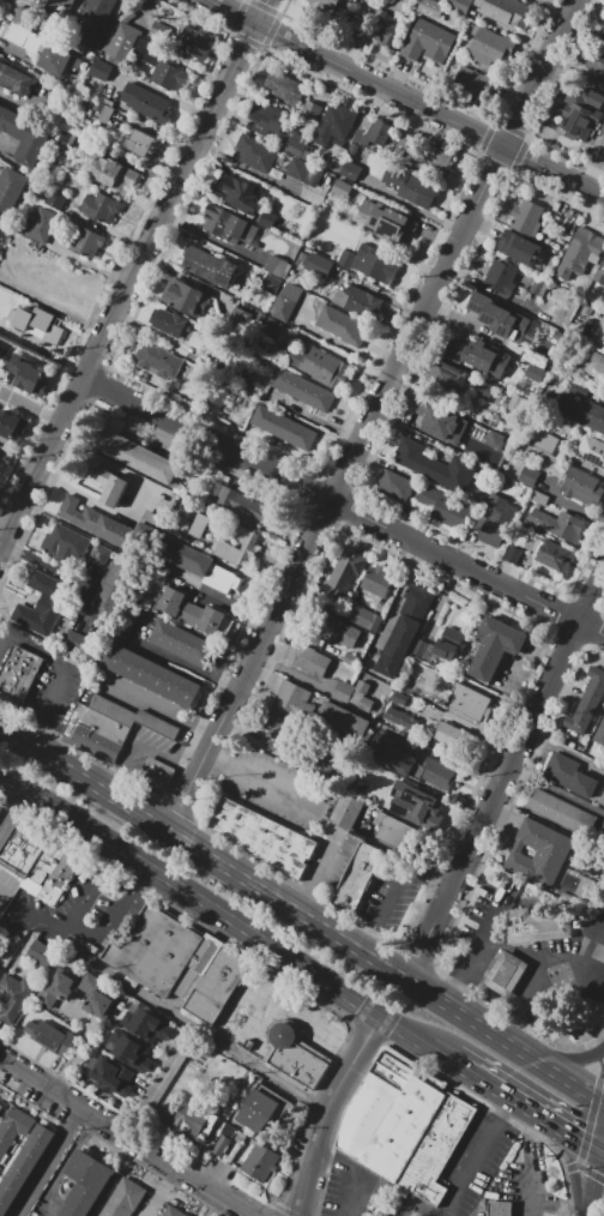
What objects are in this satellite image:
building: (80, 0)
building: (459, 4)
building: (322, 6)
building: (58, 8)
building: (430, 8)
building: (97, 12)
building: (505, 13)
building: (25, 18)
building: (385, 25)
building: (2, 28)
building: (17, 34)
building: (91, 37)
building: (602, 37)
building: (117, 42)
building: (428, 42)
building: (31, 43)
building: (194, 43)
road: (536, 44)
road: (354, 48)
building: (491, 50)
building: (56, 60)
building: (594, 61)
building: (101, 70)
road: (395, 74)
building: (14, 78)
building: (168, 79)
building: (469, 80)
building: (283, 88)
road: (405, 96)
road: (509, 97)
building: (143, 102)
building: (309, 109)
building: (580, 112)
building: (101, 113)
building: (261, 115)
building: (334, 125)
building: (602, 131)
building: (24, 134)
building: (372, 134)
building: (137, 143)
building: (295, 144)
road: (5, 145)
building: (256, 152)
building: (337, 155)
building: (433, 161)
building: (296, 169)
road: (596, 169)
building: (350, 170)
building: (117, 177)
building: (407, 188)
building: (10, 189)
building: (240, 194)
road: (563, 195)
building: (55, 199)
road: (412, 206)
building: (101, 207)
road: (591, 207)
building: (527, 217)
building: (267, 218)
building: (386, 221)
building: (38, 225)
road: (482, 225)
building: (229, 227)
road: (436, 235)
building: (85, 241)
building: (519, 247)
building: (579, 252)
building: (346, 258)
building: (197, 261)
building: (274, 265)
building: (374, 265)
building: (316, 266)
road: (423, 266)
road: (132, 272)
building: (225, 272)
road: (459, 273)
building: (599, 275)
building: (500, 276)
building: (271, 284)
building: (539, 285)
road: (411, 293)
building: (183, 299)
building: (361, 299)
building: (286, 301)
road: (404, 306)
road: (447, 315)
building: (499, 317)
building: (37, 324)
building: (338, 324)
building: (179, 327)
building: (274, 329)
building: (1, 349)
road: (379, 349)
building: (477, 356)
building: (156, 360)
building: (598, 362)
building: (320, 366)
building: (536, 373)
building: (28, 374)
building: (447, 374)
road: (380, 377)
building: (484, 389)
building: (216, 390)
building: (580, 390)
building: (307, 391)
building: (528, 395)
road: (30, 408)
building: (581, 413)
road: (372, 416)
building: (439, 416)
building: (11, 425)
road: (393, 425)
building: (282, 428)
road: (338, 428)
building: (546, 441)
building: (592, 451)
road: (271, 452)
building: (135, 455)
road: (369, 456)
building: (434, 465)
building: (528, 475)
building: (110, 486)
building: (582, 486)
building: (393, 487)
road: (73, 490)
building: (427, 498)
building: (538, 498)
road: (343, 505)
building: (68, 506)
building: (243, 506)
building: (451, 511)
building: (496, 516)
building: (560, 524)
building: (198, 525)
building: (107, 529)
building: (235, 541)
building: (64, 544)
building: (99, 554)
building: (552, 554)
road: (32, 556)
road: (277, 561)
building: (194, 565)
building: (343, 576)
building: (376, 580)
building: (109, 585)
building: (48, 596)
road: (254, 602)
building: (330, 606)
road: (232, 608)
building: (193, 612)
building: (362, 618)
building: (325, 627)
building: (404, 628)
building: (454, 634)
road: (303, 636)
building: (77, 643)
building: (183, 643)
building: (494, 646)
building: (422, 648)
road: (5, 649)
building: (445, 649)
building: (312, 663)
road: (288, 670)
road: (59, 672)
building: (150, 674)
road: (260, 674)
building: (17, 676)
road: (217, 679)
building: (354, 694)
building: (399, 698)
building: (295, 700)
building: (587, 702)
building: (469, 703)
road: (162, 709)
building: (344, 721)
building: (400, 721)
building: (109, 726)
road: (238, 727)
building: (599, 733)
building: (277, 735)
building: (446, 735)
road: (138, 745)
road: (448, 760)
building: (318, 763)
building: (411, 766)
building: (155, 776)
building: (569, 776)
road: (505, 779)
road: (557, 790)
building: (602, 799)
building: (411, 801)
building: (0, 808)
road: (11, 808)
building: (345, 811)
road: (310, 813)
building: (561, 813)
building: (397, 831)
building: (264, 837)
building: (538, 845)
road: (111, 857)
building: (37, 861)
road: (234, 874)
road: (141, 877)
building: (356, 878)
road: (391, 889)
road: (2, 893)
parking lot: (389, 898)
road: (223, 916)
building: (536, 926)
road: (85, 933)
building: (155, 950)
road: (517, 950)
building: (41, 953)
road: (473, 955)
road: (597, 963)
building: (0, 970)
road: (569, 970)
building: (506, 974)
building: (210, 979)
road: (597, 980)
building: (58, 988)
building: (97, 995)
building: (13, 997)
road: (525, 1001)
road: (259, 1004)
road: (161, 1006)
parking lot: (250, 1015)
building: (146, 1025)
road: (315, 1025)
road: (485, 1031)
building: (50, 1036)
road: (507, 1045)
road: (514, 1048)
building: (131, 1049)
building: (295, 1054)
road: (525, 1055)
road: (570, 1059)
road: (536, 1061)
road: (600, 1064)
road: (465, 1067)
road: (549, 1070)
building: (236, 1073)
building: (113, 1077)
road: (569, 1084)
road: (494, 1085)
road: (508, 1095)
road: (591, 1098)
building: (373, 1101)
road: (525, 1104)
building: (1, 1107)
road: (507, 1107)
road: (325, 1109)
building: (258, 1110)
road: (538, 1113)
road: (544, 1116)
road: (591, 1118)
building: (189, 1120)
building: (405, 1124)
road: (556, 1125)
building: (13, 1128)
road: (123, 1138)
road: (489, 1138)
building: (224, 1139)
traffic signals: (580, 1139)
road: (581, 1139)
road: (532, 1142)
road: (602, 1142)
building: (436, 1150)
road: (322, 1151)
road: (602, 1151)
road: (44, 1162)
road: (596, 1162)
road: (62, 1163)
building: (259, 1163)
parking lot: (473, 1164)
road: (573, 1164)
building: (23, 1166)
road: (588, 1170)
road: (362, 1178)
road: (592, 1178)
building: (84, 1185)
parking lot: (352, 1188)
road: (458, 1188)
road: (158, 1193)
road: (533, 1196)
building: (122, 1198)
road: (588, 1198)
road: (415, 1206)
building: (500, 1209)
parking lot: (397, 1210)
building: (171, 1211)
road: (297, 1214)

